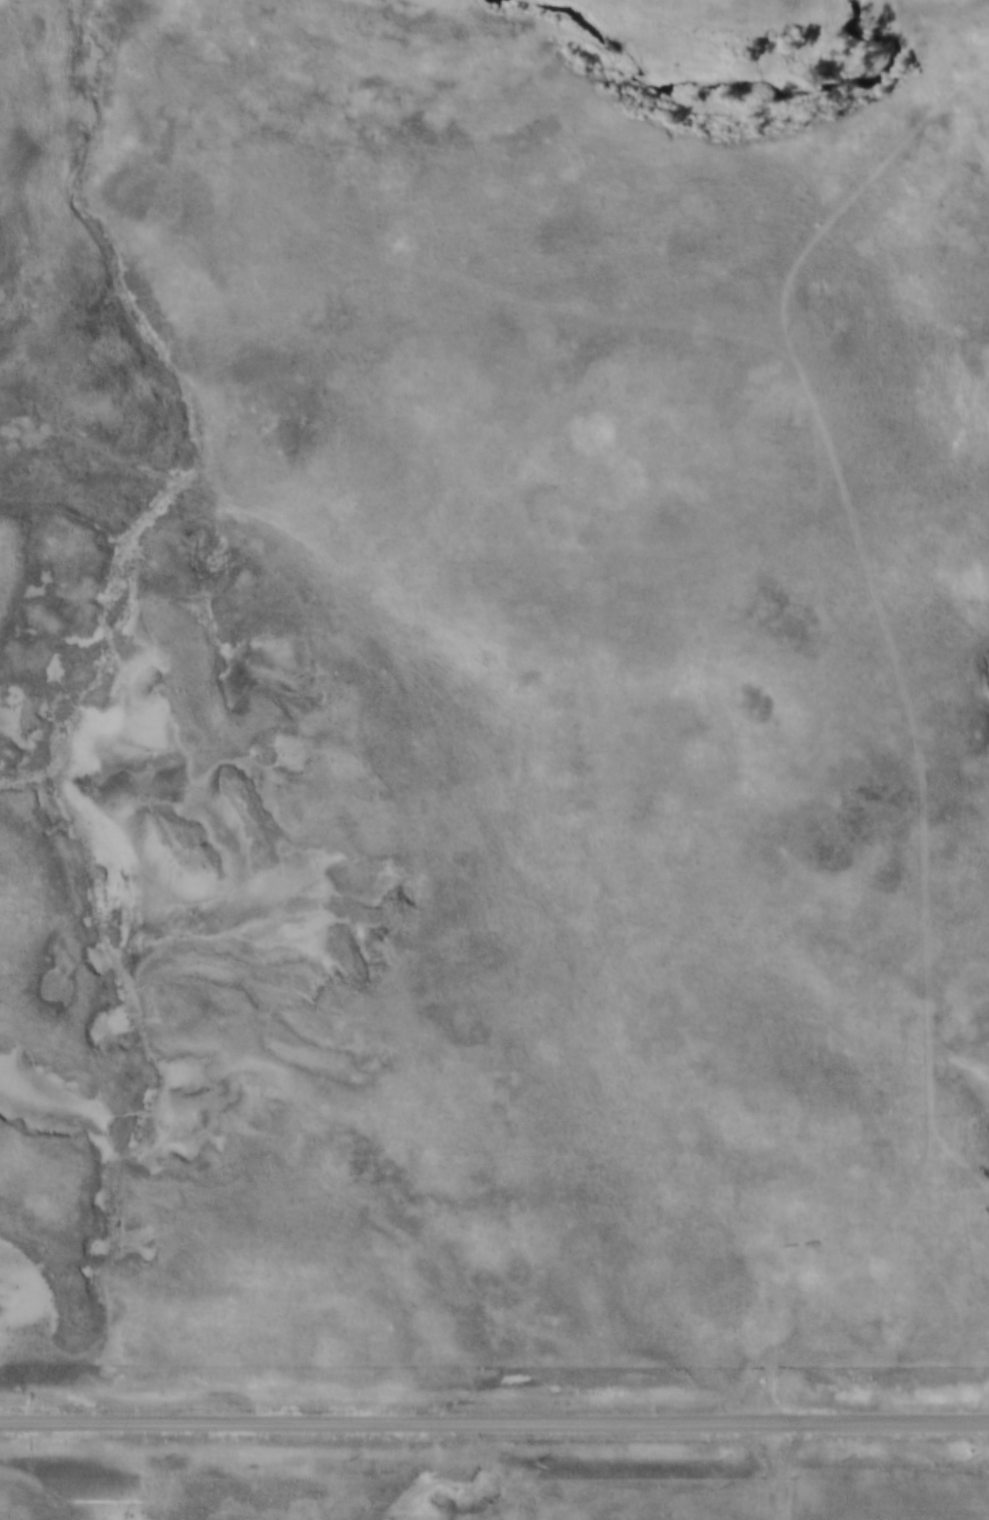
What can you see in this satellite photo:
road: (494, 1417)

